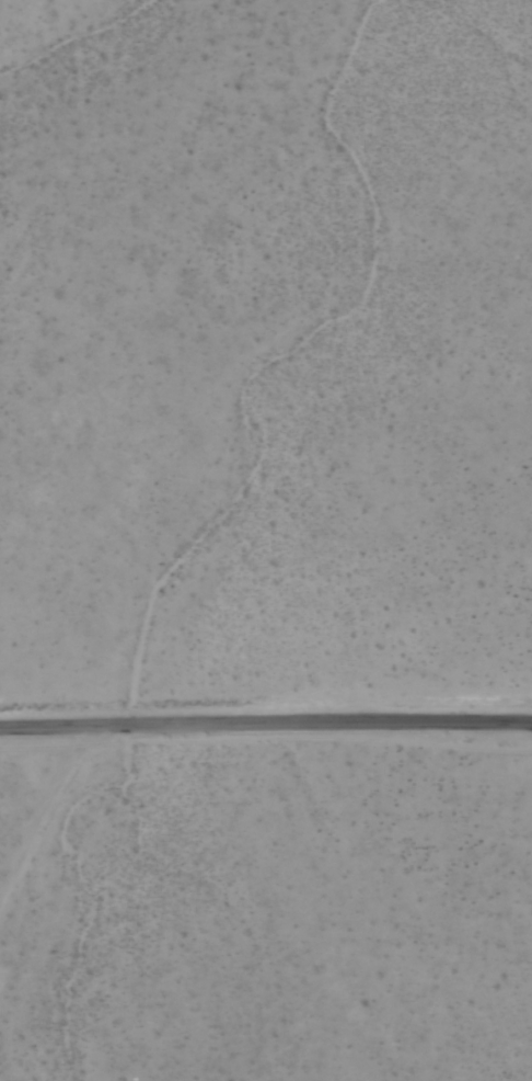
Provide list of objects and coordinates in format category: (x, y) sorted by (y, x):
road: (265, 720)

